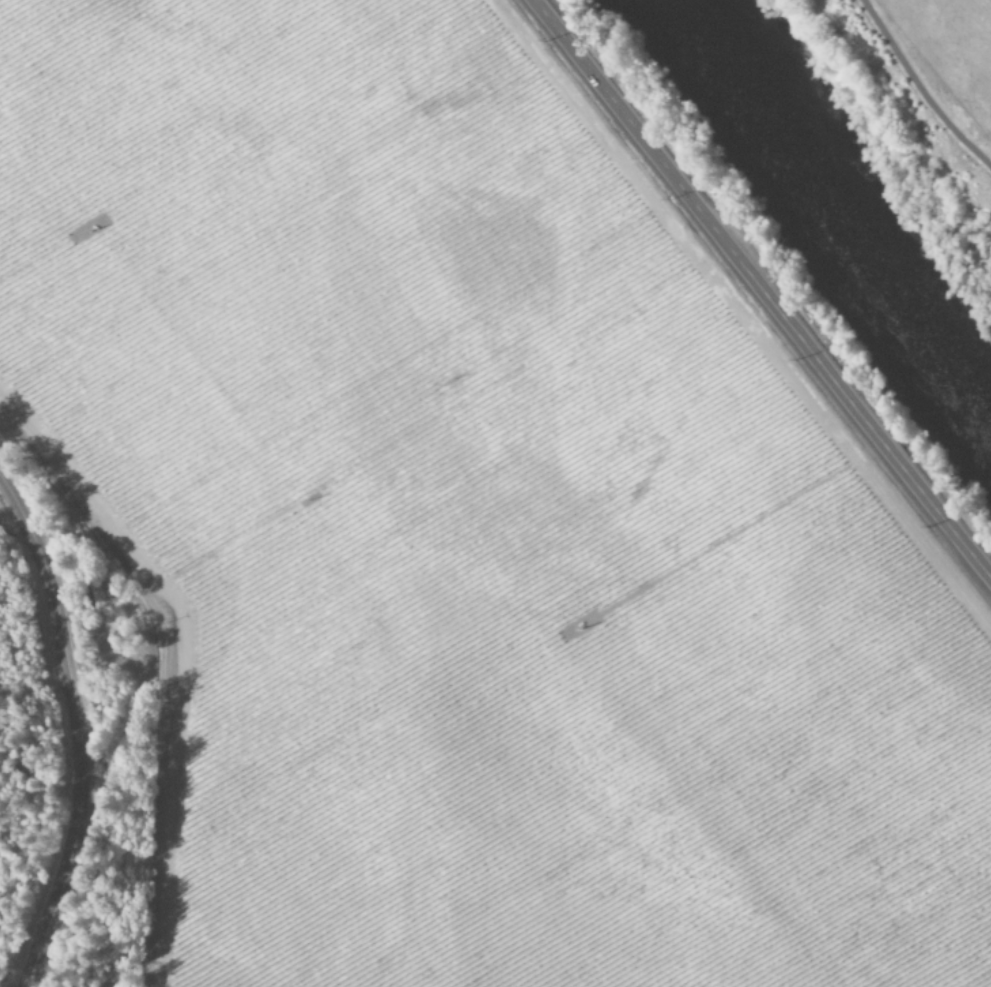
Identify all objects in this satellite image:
road: (919, 90)
river: (820, 218)
road: (758, 290)
road: (73, 728)

